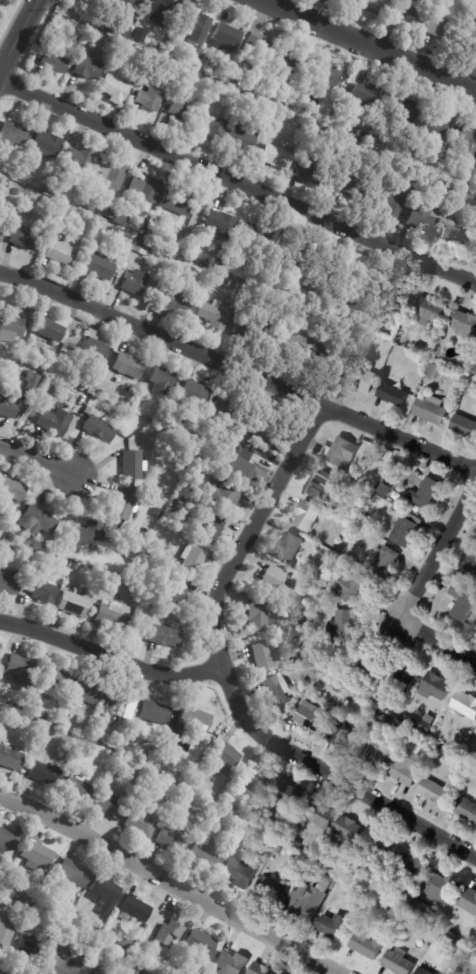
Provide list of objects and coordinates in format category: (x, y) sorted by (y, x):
building: (129, 4)
building: (374, 4)
building: (407, 8)
building: (161, 12)
park: (7, 14)
building: (395, 22)
building: (195, 27)
building: (441, 27)
building: (470, 29)
building: (118, 31)
road: (17, 33)
building: (139, 35)
building: (226, 38)
building: (176, 39)
building: (107, 43)
building: (120, 46)
road: (365, 46)
building: (260, 49)
building: (170, 50)
building: (52, 54)
building: (291, 60)
building: (87, 68)
building: (183, 72)
building: (325, 75)
building: (241, 83)
building: (114, 90)
building: (287, 90)
building: (363, 97)
building: (149, 98)
building: (401, 108)
building: (182, 111)
building: (214, 126)
building: (437, 129)
building: (319, 132)
building: (12, 135)
building: (242, 140)
building: (468, 140)
building: (45, 145)
building: (280, 155)
building: (415, 158)
building: (77, 162)
building: (308, 173)
building: (112, 174)
building: (410, 174)
building: (464, 180)
road: (238, 182)
building: (2, 183)
building: (354, 185)
building: (147, 188)
building: (53, 190)
building: (17, 191)
building: (176, 201)
building: (392, 202)
building: (109, 212)
building: (121, 218)
building: (425, 218)
building: (145, 222)
building: (221, 225)
building: (473, 225)
building: (115, 230)
building: (1, 233)
building: (155, 234)
building: (128, 235)
building: (253, 237)
building: (25, 238)
building: (460, 238)
building: (140, 247)
building: (61, 253)
building: (186, 257)
building: (283, 265)
building: (225, 267)
building: (99, 268)
building: (205, 276)
building: (221, 279)
building: (135, 283)
building: (306, 288)
building: (399, 296)
building: (344, 297)
building: (174, 302)
building: (429, 311)
building: (216, 314)
building: (464, 324)
building: (10, 325)
building: (49, 330)
building: (249, 330)
building: (290, 342)
building: (95, 349)
building: (465, 359)
building: (317, 363)
building: (128, 366)
building: (475, 367)
building: (5, 369)
building: (46, 371)
building: (433, 372)
road: (238, 374)
building: (89, 376)
building: (363, 379)
building: (33, 380)
building: (74, 381)
building: (162, 381)
building: (83, 385)
building: (101, 393)
building: (194, 394)
building: (393, 395)
building: (8, 404)
building: (226, 407)
building: (432, 410)
building: (87, 411)
building: (55, 423)
building: (261, 426)
building: (180, 427)
building: (465, 427)
building: (99, 430)
building: (164, 434)
building: (340, 452)
road: (38, 458)
building: (240, 464)
building: (133, 466)
building: (205, 471)
building: (323, 486)
building: (384, 489)
building: (11, 491)
building: (427, 492)
building: (224, 496)
building: (125, 505)
building: (179, 509)
building: (417, 509)
building: (157, 512)
building: (307, 515)
building: (2, 521)
building: (366, 521)
building: (36, 522)
building: (212, 529)
building: (407, 529)
road: (250, 532)
building: (89, 534)
building: (12, 538)
building: (289, 547)
building: (10, 548)
road: (435, 551)
building: (328, 556)
building: (194, 560)
building: (385, 560)
building: (471, 561)
building: (61, 562)
building: (76, 567)
building: (114, 578)
building: (277, 581)
building: (10, 582)
building: (351, 585)
building: (42, 586)
building: (177, 592)
building: (320, 592)
building: (331, 595)
building: (463, 603)
building: (74, 605)
building: (312, 606)
building: (310, 614)
building: (258, 615)
building: (113, 616)
building: (343, 626)
building: (166, 637)
building: (274, 643)
road: (435, 643)
building: (264, 656)
road: (109, 658)
building: (366, 662)
building: (19, 669)
building: (401, 677)
building: (52, 682)
building: (333, 684)
building: (435, 686)
building: (86, 690)
building: (277, 690)
building: (348, 698)
building: (465, 704)
building: (119, 705)
building: (16, 707)
building: (154, 712)
building: (6, 715)
building: (47, 715)
building: (311, 716)
building: (15, 718)
building: (194, 719)
building: (428, 723)
building: (402, 724)
building: (98, 729)
building: (47, 731)
building: (342, 734)
building: (69, 744)
building: (104, 748)
building: (113, 752)
building: (369, 753)
building: (225, 757)
building: (11, 758)
building: (405, 769)
building: (45, 772)
road: (333, 775)
building: (253, 784)
building: (79, 787)
building: (435, 790)
building: (211, 797)
building: (289, 798)
building: (111, 805)
building: (465, 808)
building: (320, 812)
building: (251, 814)
building: (141, 823)
building: (347, 831)
building: (294, 832)
building: (9, 839)
building: (174, 840)
building: (268, 842)
building: (295, 843)
building: (277, 849)
building: (379, 850)
building: (36, 853)
building: (292, 856)
building: (205, 859)
building: (412, 867)
building: (240, 871)
building: (72, 874)
road: (168, 883)
building: (442, 887)
building: (20, 889)
building: (269, 889)
building: (9, 892)
building: (104, 894)
building: (307, 900)
building: (468, 905)
building: (4, 906)
building: (134, 909)
building: (420, 909)
building: (37, 912)
building: (68, 913)
building: (408, 922)
building: (333, 925)
building: (7, 927)
building: (167, 927)
building: (94, 928)
building: (451, 935)
building: (126, 944)
building: (200, 944)
building: (368, 945)
building: (30, 949)
building: (461, 952)
building: (141, 953)
building: (124, 958)
building: (398, 962)
building: (231, 963)
building: (64, 966)
building: (260, 969)
building: (423, 971)
building: (85, 973)
building: (98, 973)
building: (198, 973)

